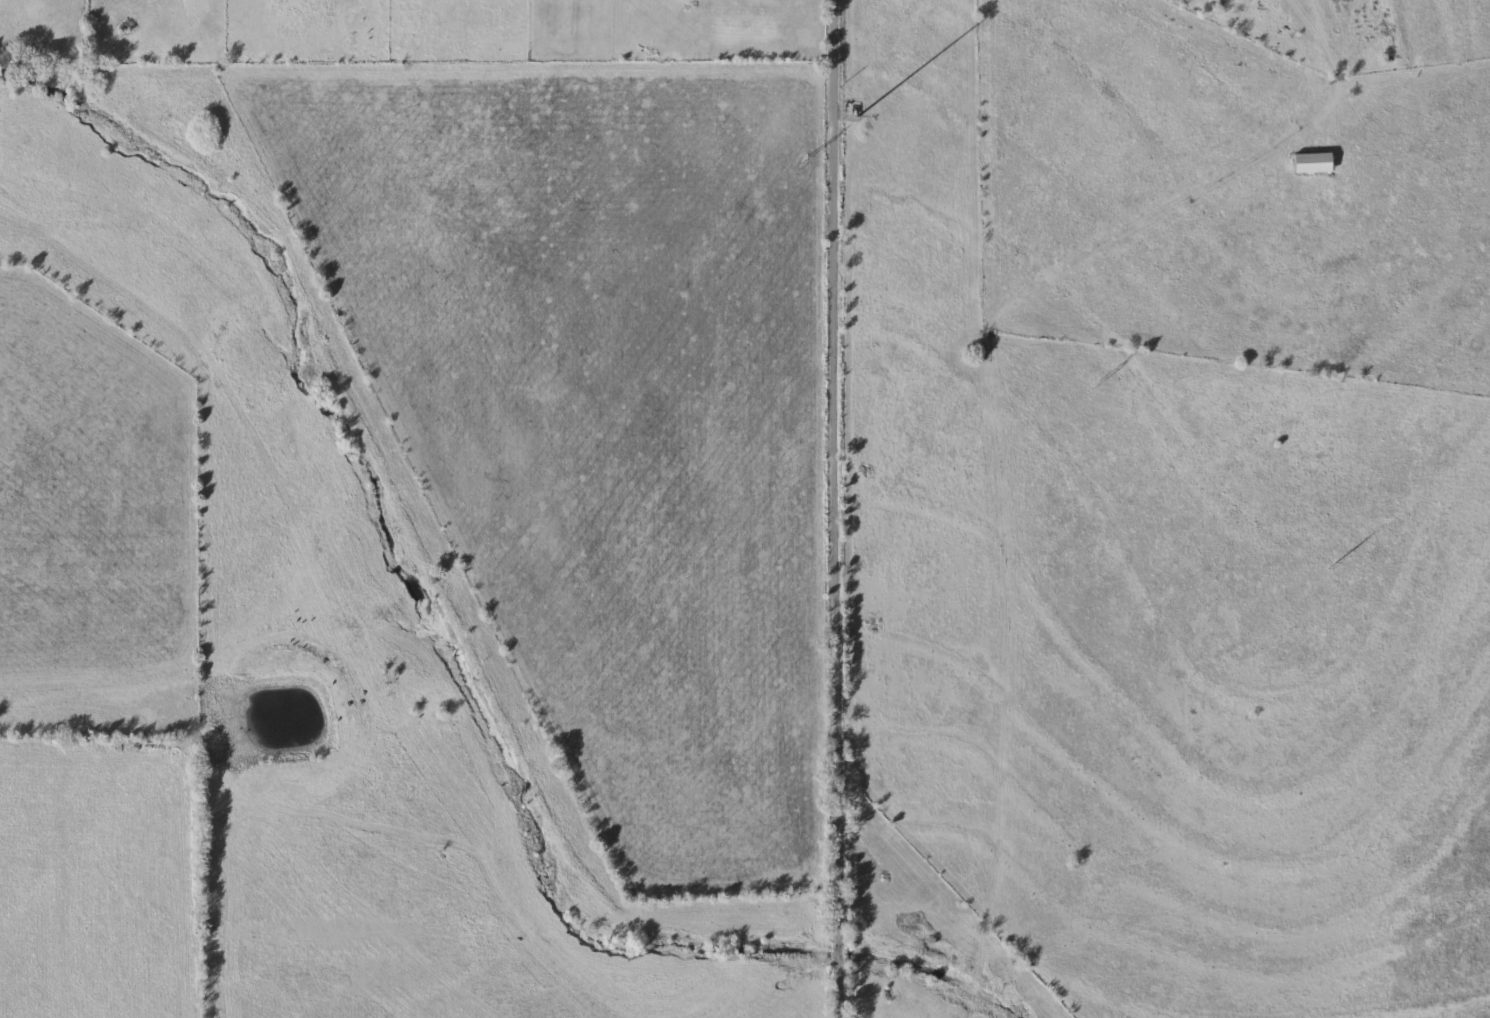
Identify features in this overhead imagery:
power tower: (807, 158)
building: (1312, 163)
power tower: (1098, 382)
road: (831, 509)
power tower: (1334, 564)

